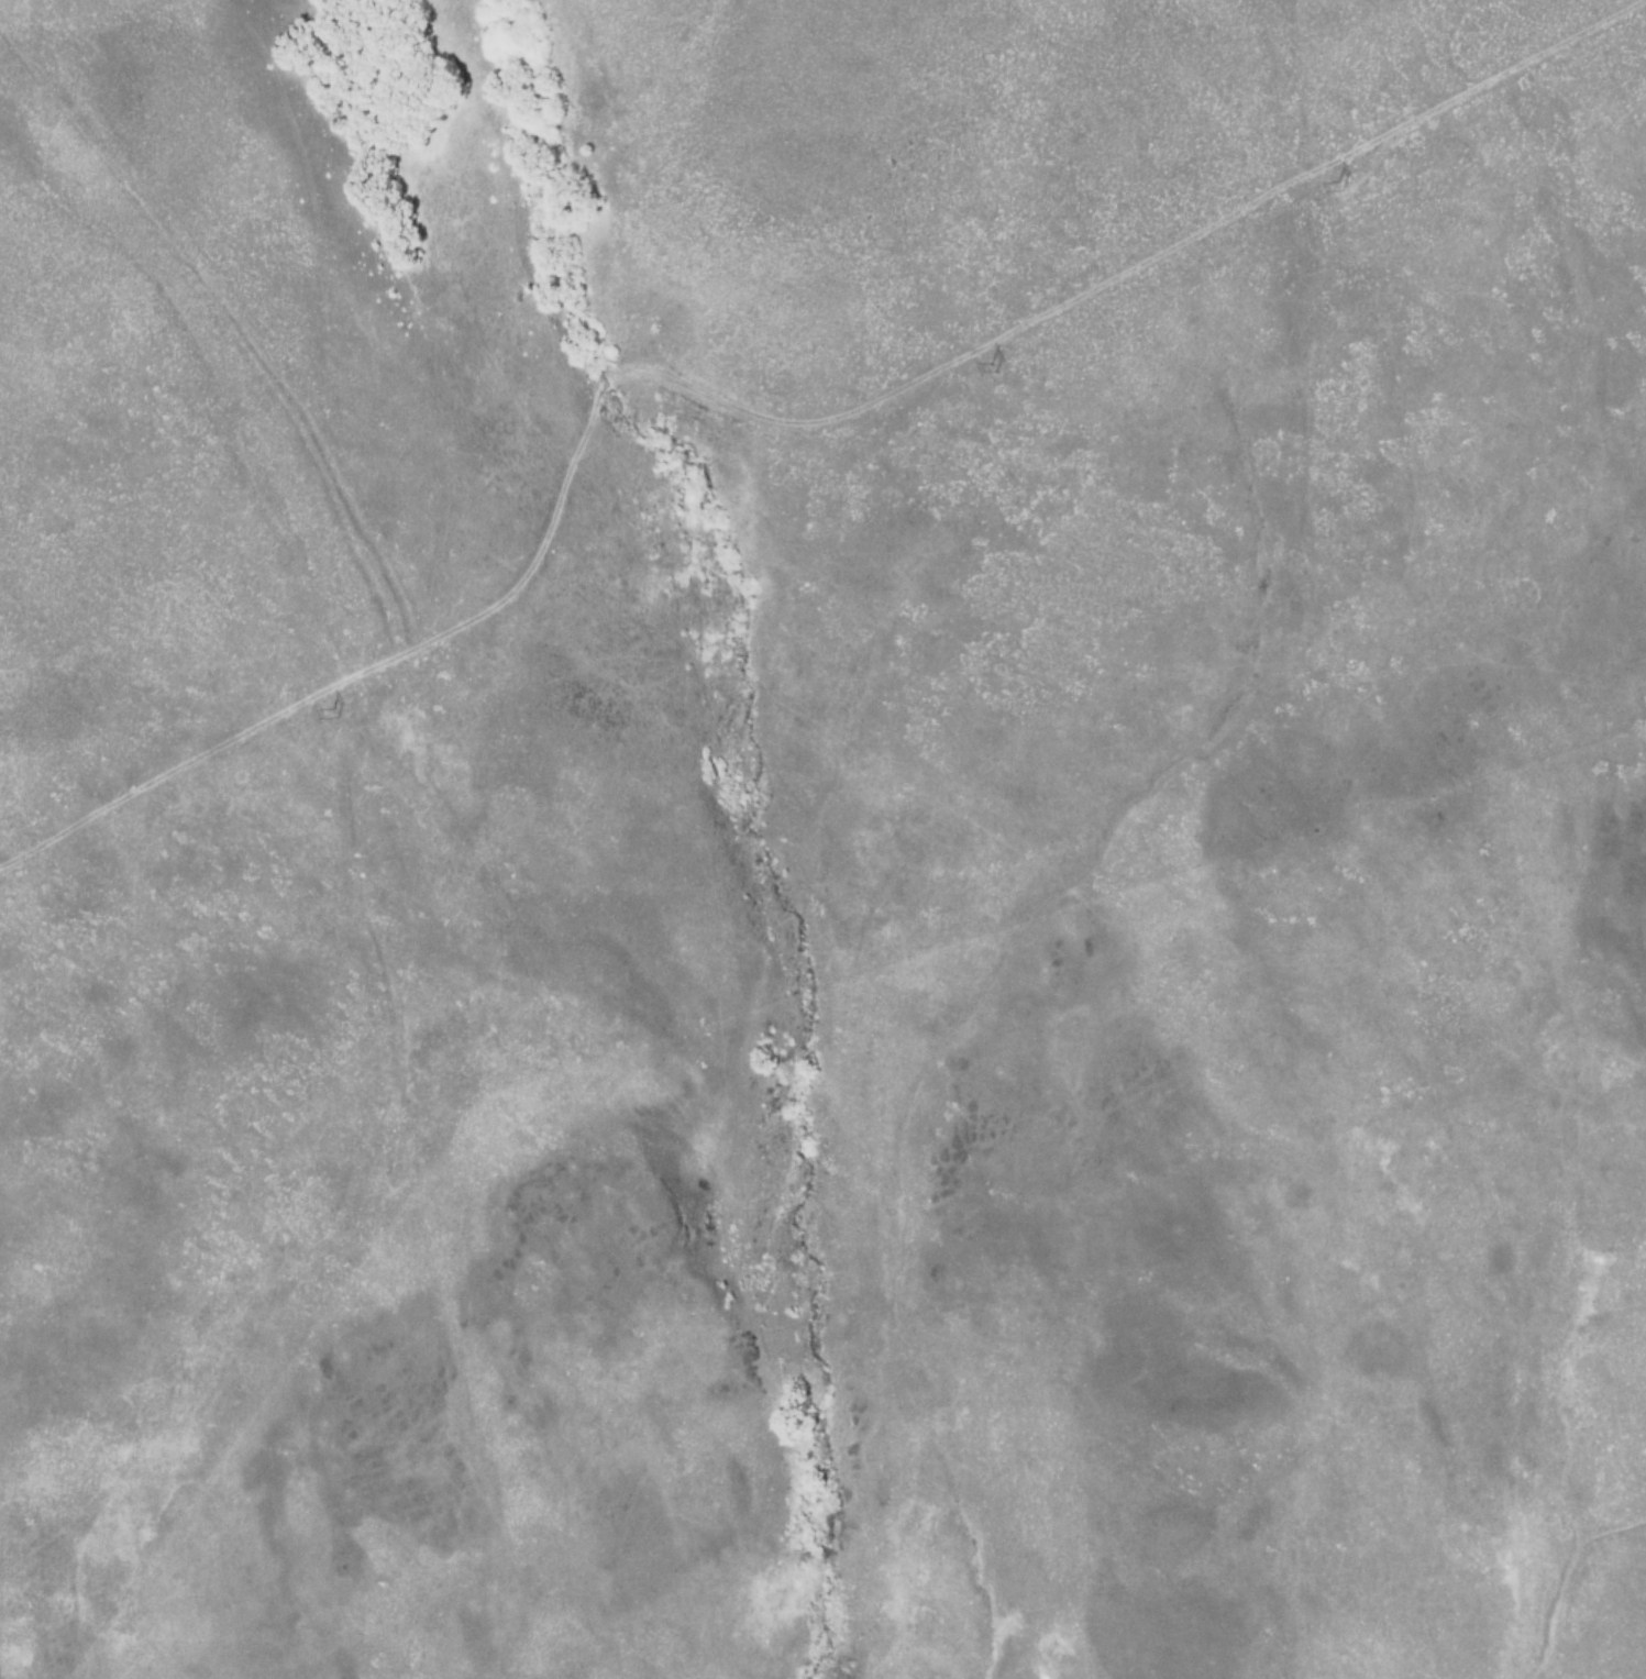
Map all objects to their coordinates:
power tower: (1338, 187)
power tower: (993, 368)
road: (753, 412)
power tower: (335, 715)

